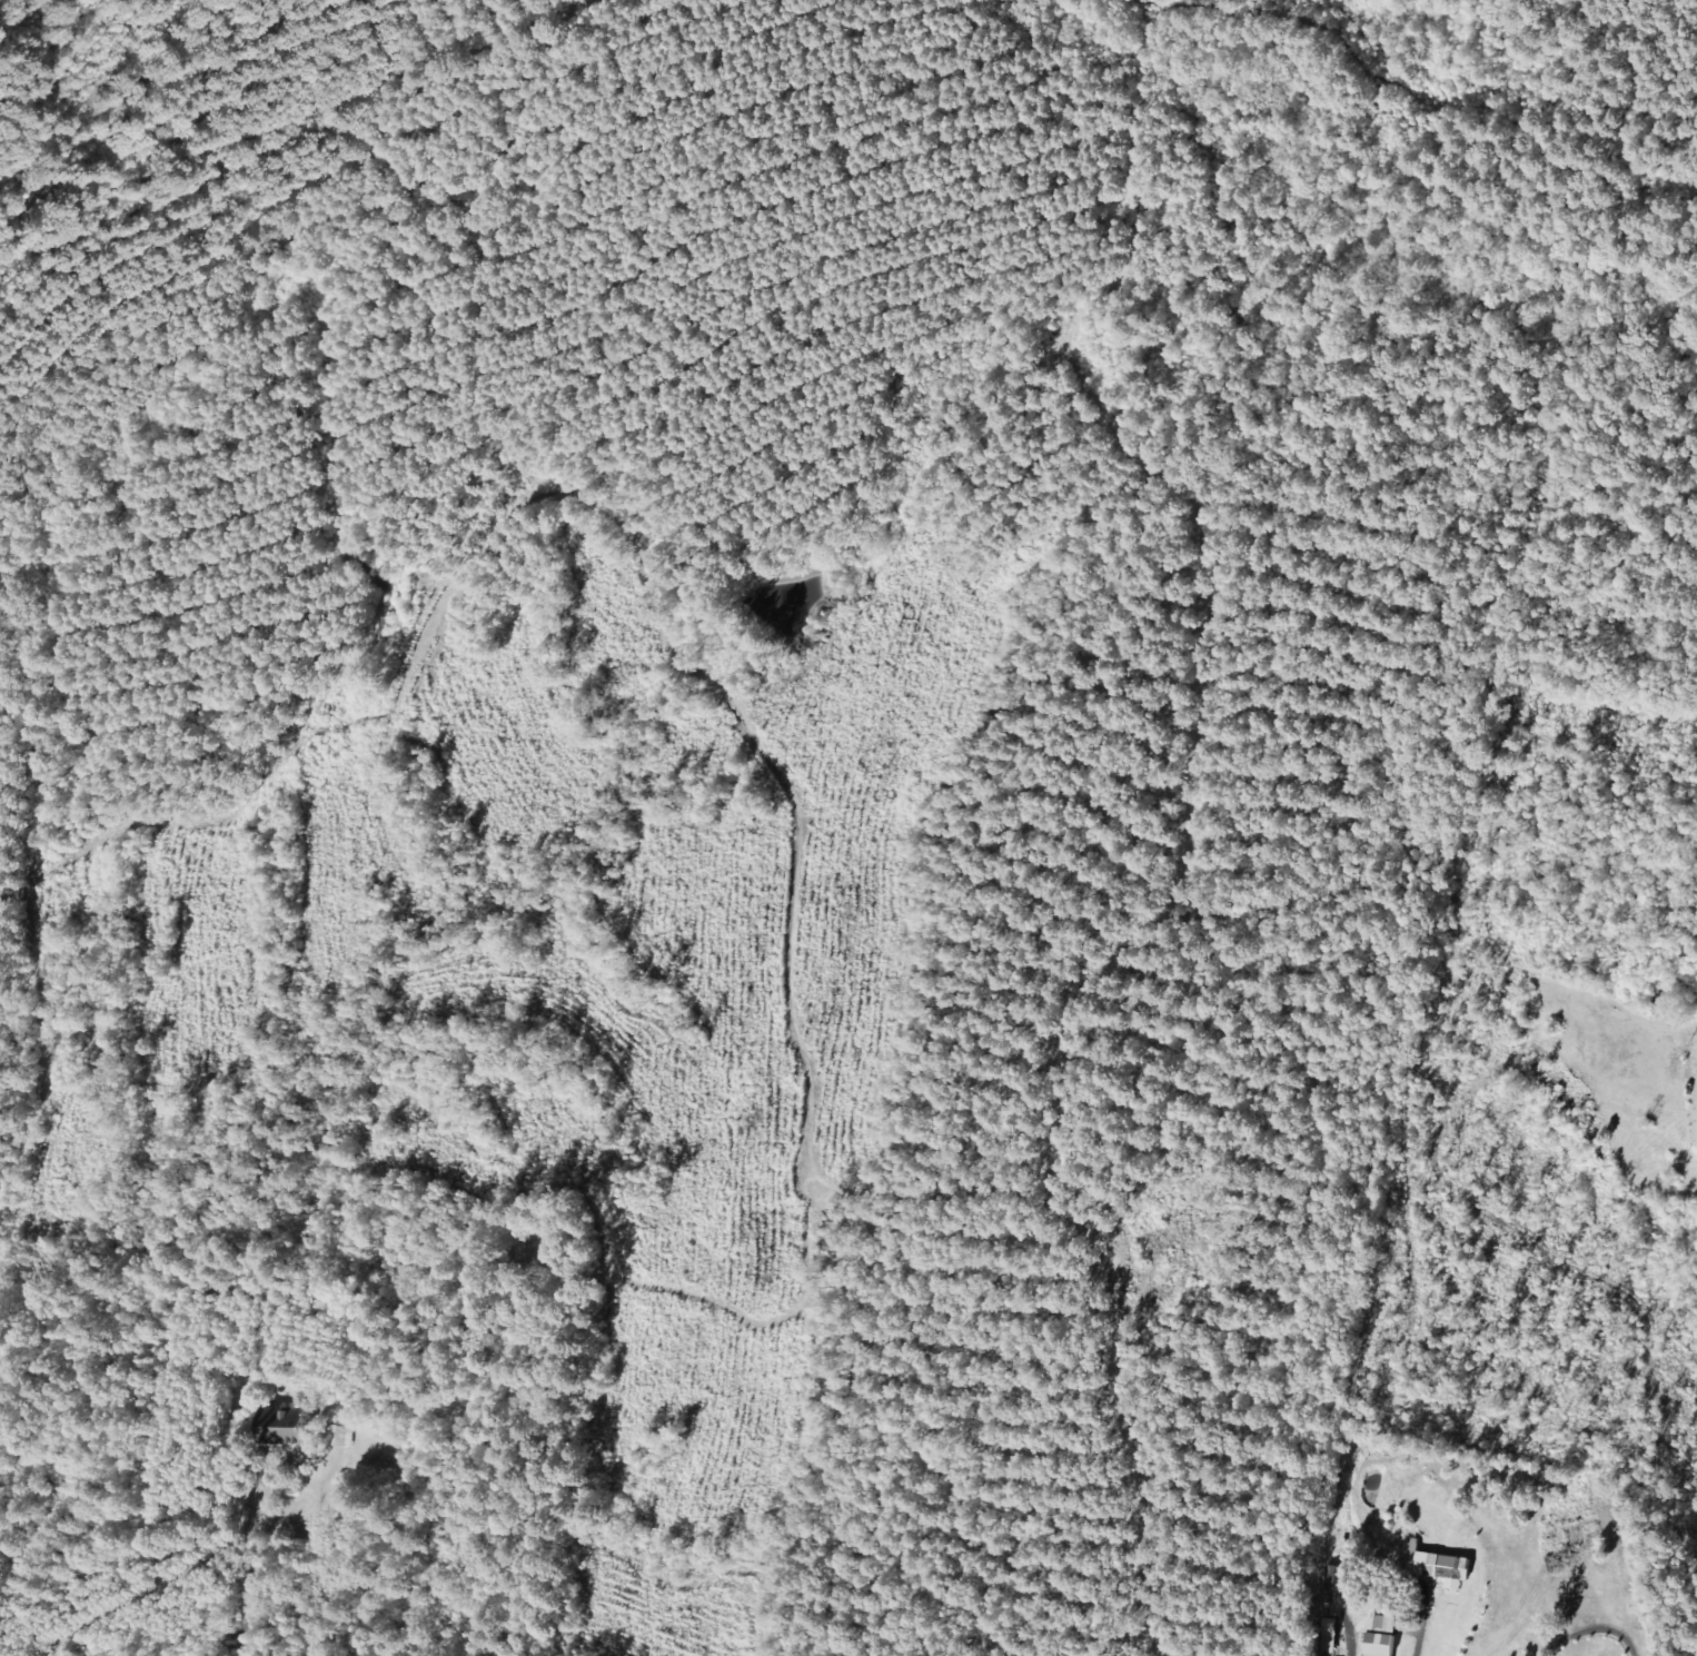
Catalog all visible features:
building: (287, 1428)
building: (343, 1437)
building: (1446, 1567)
road: (297, 1578)
building: (1387, 1636)
building: (1332, 1638)

